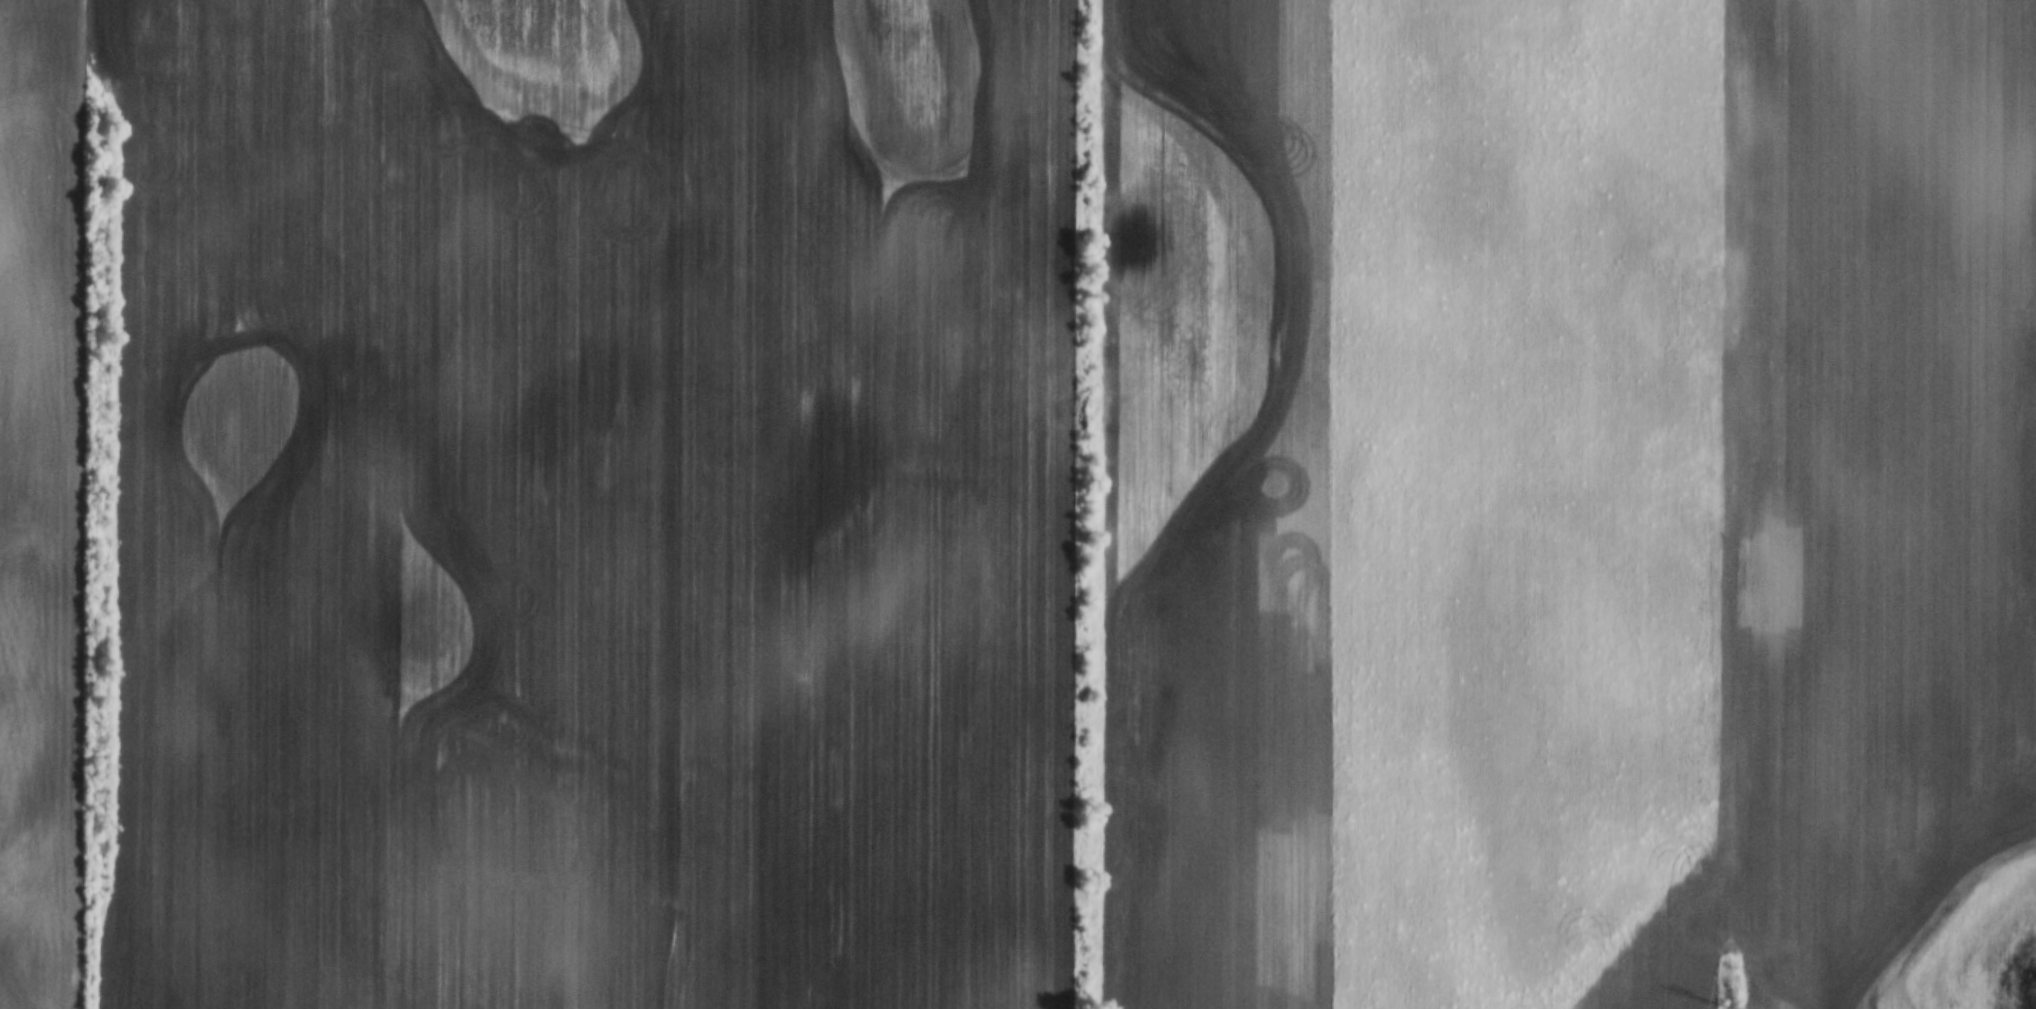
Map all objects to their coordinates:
road: (103, 504)

